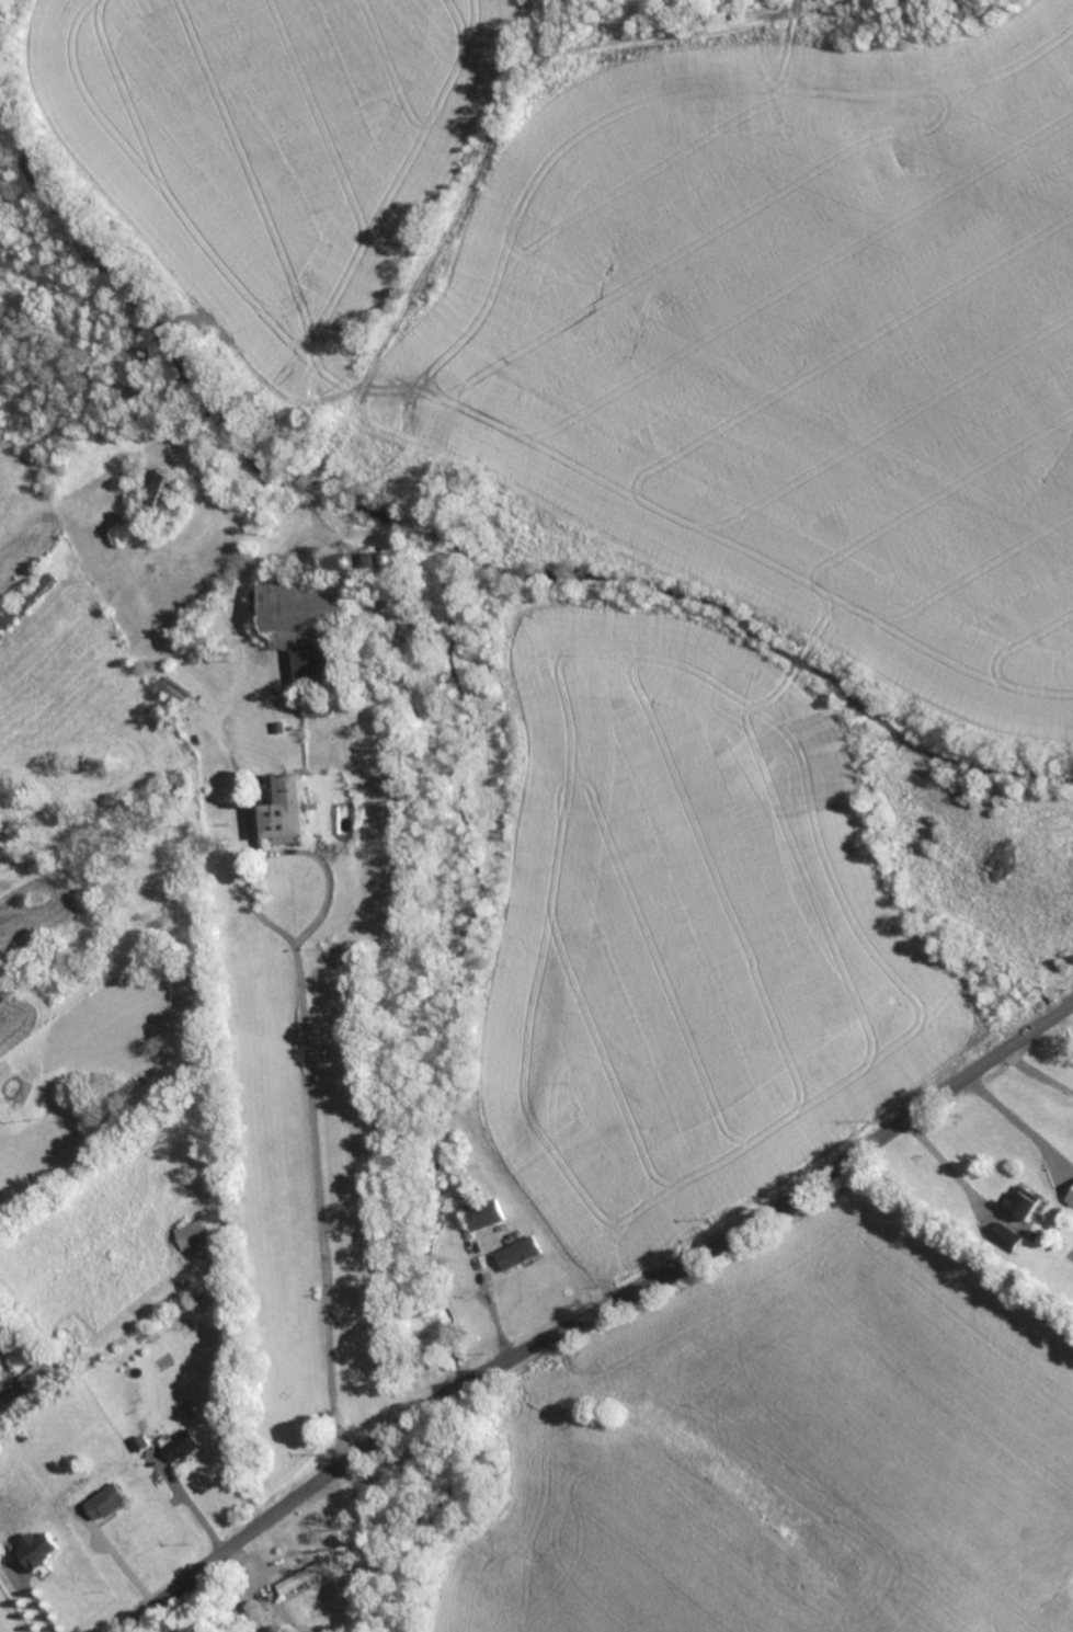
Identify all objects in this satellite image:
building: (161, 487)
building: (39, 589)
building: (300, 617)
building: (9, 619)
building: (171, 691)
building: (283, 809)
road: (306, 1069)
road: (1039, 1074)
road: (1017, 1123)
road: (947, 1164)
building: (1070, 1198)
building: (1019, 1206)
building: (484, 1214)
building: (192, 1235)
building: (1009, 1237)
building: (516, 1253)
road: (495, 1314)
road: (598, 1317)
building: (180, 1446)
building: (105, 1502)
road: (194, 1505)
building: (36, 1548)
road: (121, 1561)
building: (305, 1577)
road: (34, 1600)

